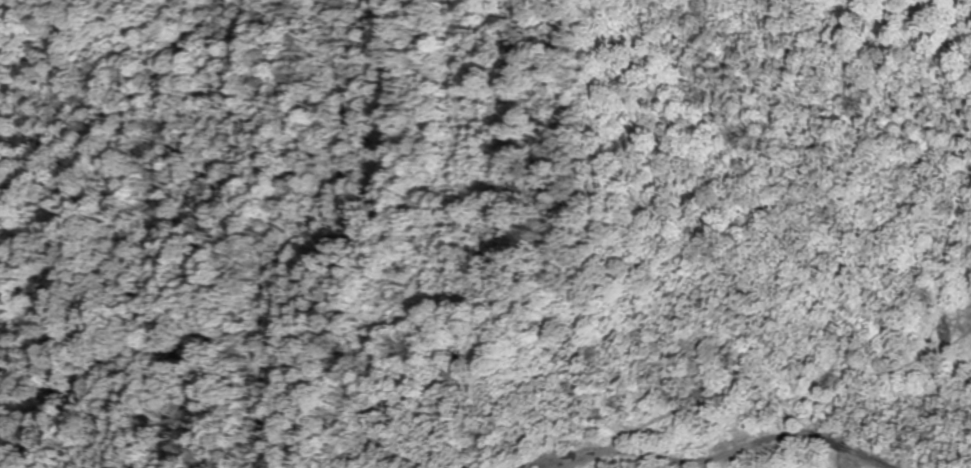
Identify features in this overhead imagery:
road: (220, 224)

